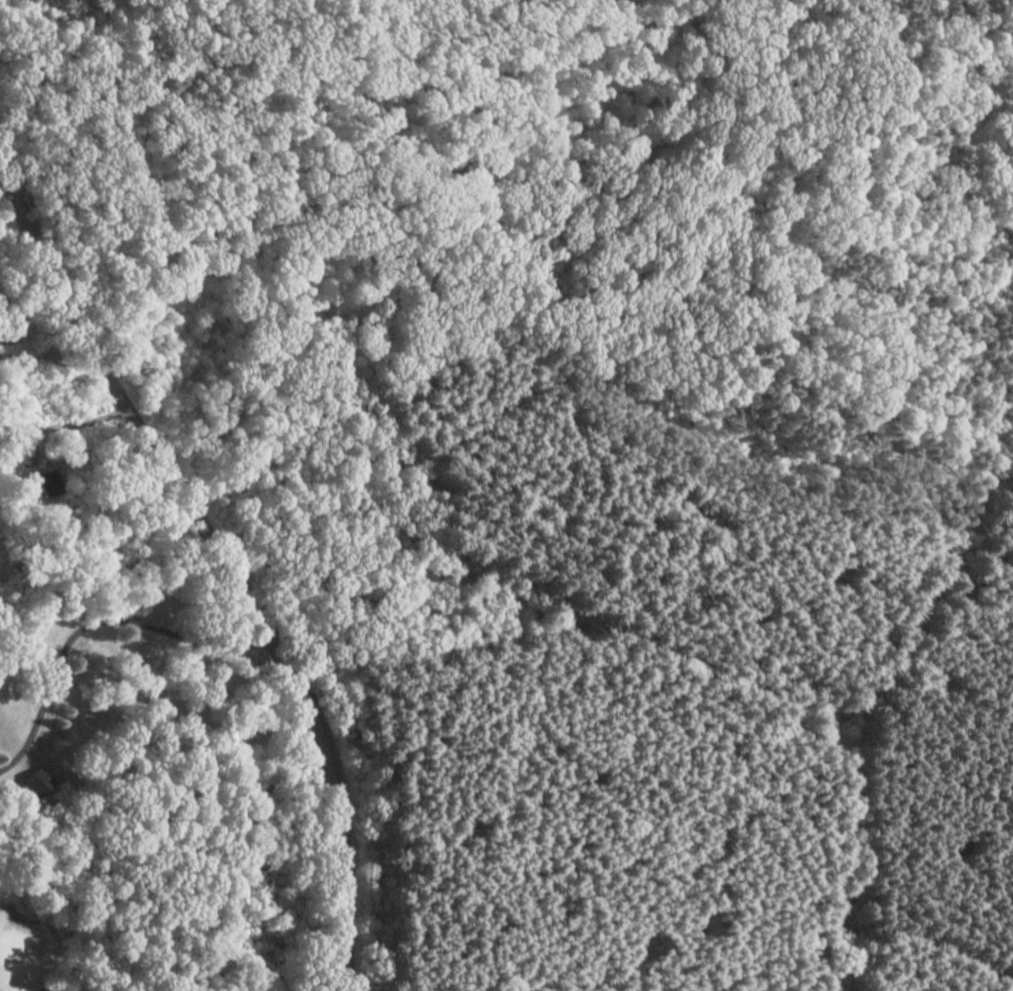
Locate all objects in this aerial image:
road: (47, 360)
road: (63, 426)
building: (47, 483)
road: (954, 532)
road: (222, 566)
road: (93, 623)
building: (35, 783)

